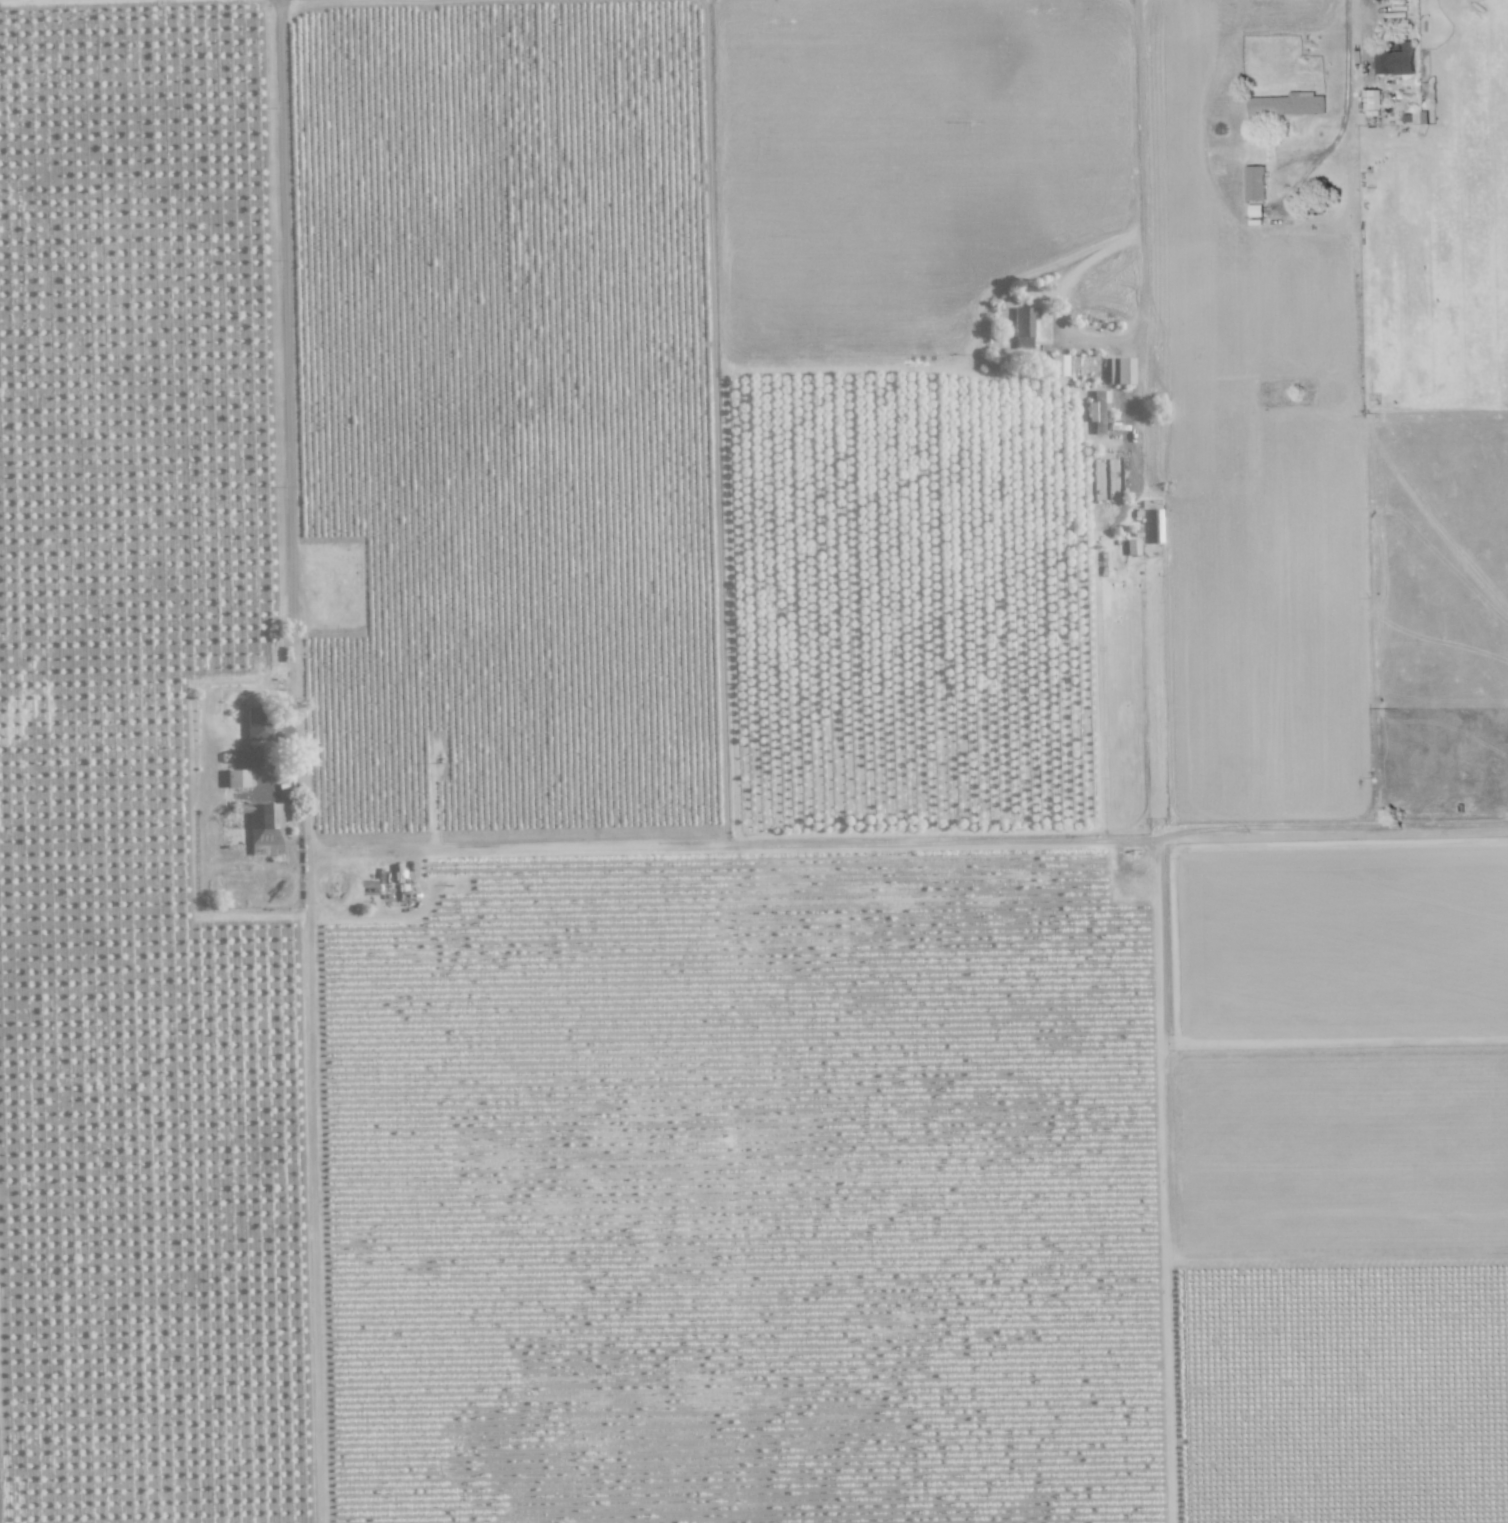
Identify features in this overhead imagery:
building: (1395, 61)
building: (1371, 100)
building: (1286, 105)
road: (1343, 110)
road: (1137, 113)
building: (1254, 183)
building: (1023, 327)
road: (1074, 331)
building: (1057, 365)
building: (1118, 371)
building: (1097, 412)
road: (298, 430)
building: (256, 726)
building: (251, 756)
building: (235, 779)
building: (263, 828)
road: (315, 1192)

